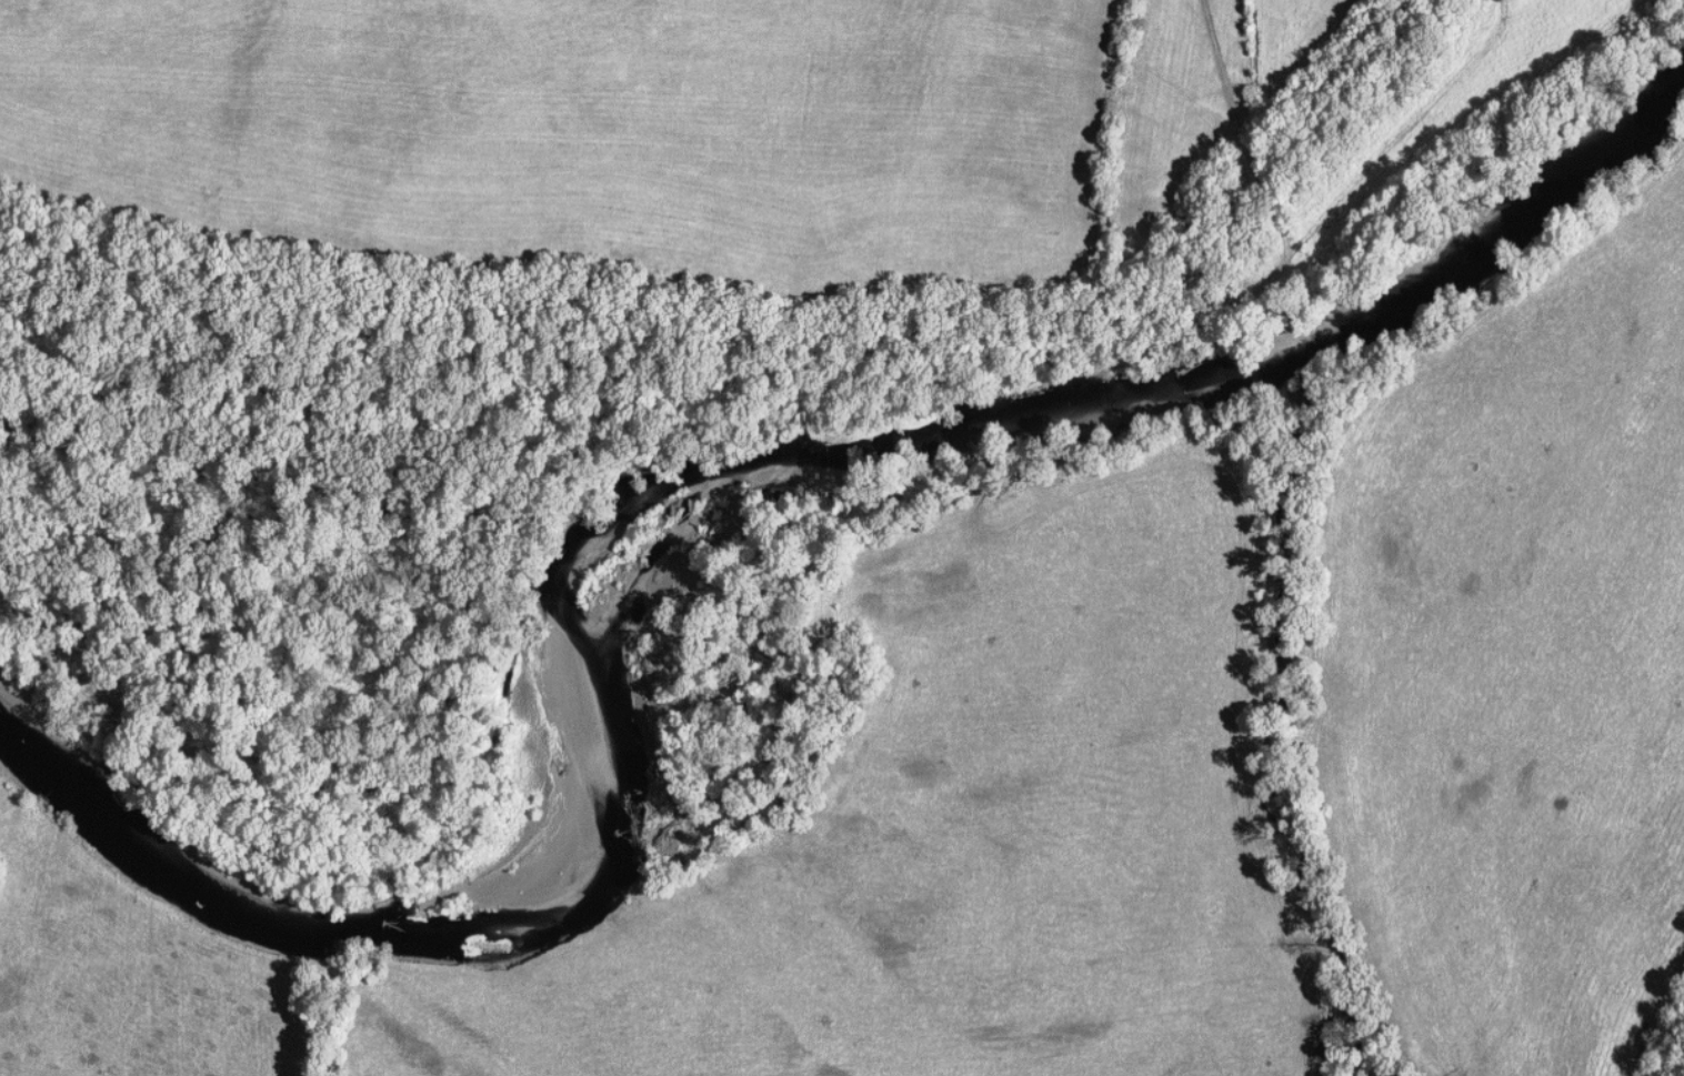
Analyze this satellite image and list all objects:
river: (648, 521)

